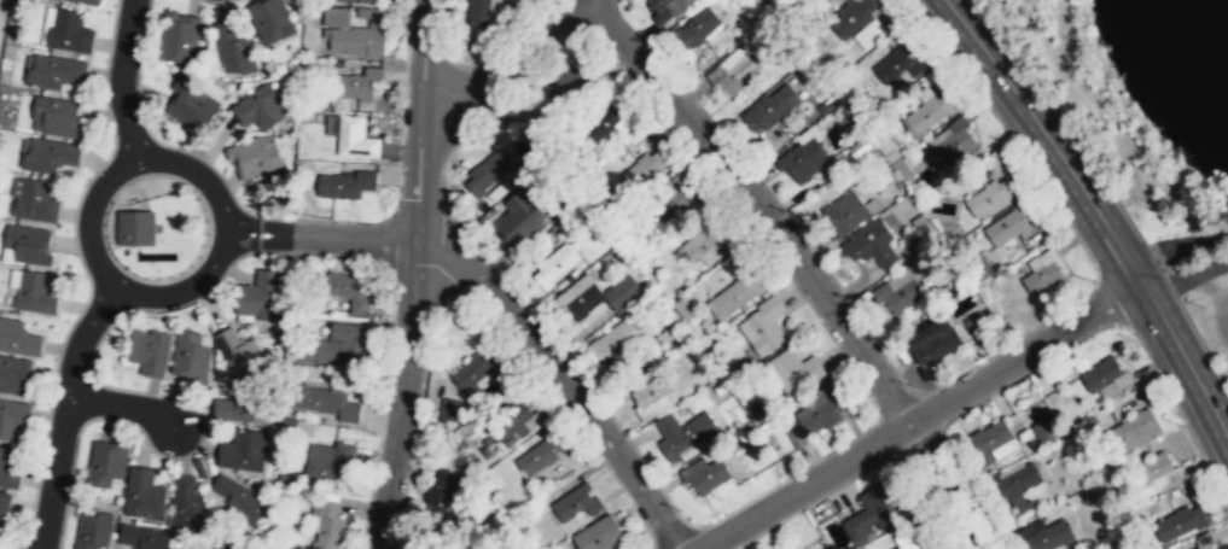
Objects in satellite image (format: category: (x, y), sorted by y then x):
building: (356, 0)
building: (827, 0)
building: (85, 1)
building: (820, 1)
building: (668, 8)
building: (482, 13)
building: (337, 17)
building: (851, 17)
building: (268, 19)
building: (697, 28)
building: (69, 31)
building: (872, 34)
building: (179, 37)
building: (356, 41)
building: (234, 48)
building: (894, 65)
road: (502, 70)
building: (737, 70)
building: (54, 71)
road: (122, 81)
building: (566, 83)
building: (355, 86)
road: (403, 101)
building: (191, 105)
building: (770, 106)
building: (260, 107)
building: (931, 111)
building: (56, 116)
building: (607, 121)
street lamp: (723, 125)
building: (356, 138)
building: (955, 145)
building: (887, 152)
building: (50, 154)
building: (254, 157)
building: (804, 158)
building: (645, 169)
building: (488, 171)
building: (347, 183)
street lamp: (395, 189)
building: (989, 198)
building: (674, 199)
building: (35, 200)
street lamp: (790, 211)
building: (845, 212)
road: (1095, 212)
building: (519, 220)
building: (1007, 223)
building: (135, 230)
road: (320, 236)
road: (395, 238)
building: (28, 243)
building: (708, 243)
building: (871, 243)
road: (1176, 250)
road: (798, 261)
building: (555, 264)
building: (1042, 271)
road: (414, 275)
road: (1186, 278)
building: (350, 290)
building: (900, 291)
building: (34, 292)
building: (623, 292)
road: (174, 294)
building: (258, 294)
building: (738, 294)
building: (581, 296)
street lamp: (852, 296)
street lamp: (537, 306)
building: (688, 306)
building: (764, 325)
building: (979, 325)
building: (18, 338)
building: (615, 339)
building: (936, 340)
building: (337, 344)
road: (388, 344)
building: (150, 351)
building: (190, 354)
building: (240, 354)
building: (476, 370)
building: (795, 370)
building: (16, 375)
building: (1104, 376)
road: (563, 378)
street lamp: (914, 384)
building: (653, 395)
building: (324, 401)
building: (243, 404)
road: (122, 407)
building: (450, 409)
building: (820, 409)
road: (65, 411)
road: (921, 416)
building: (12, 417)
building: (525, 420)
building: (1042, 430)
building: (1133, 430)
building: (681, 432)
building: (989, 439)
building: (243, 450)
building: (540, 455)
building: (330, 461)
building: (106, 462)
building: (8, 469)
building: (705, 472)
building: (1156, 473)
building: (1015, 480)
building: (144, 493)
building: (438, 495)
building: (239, 498)
building: (577, 502)
building: (188, 504)
street lamp: (681, 509)
building: (5, 512)
building: (867, 512)
building: (327, 524)
building: (1177, 524)
building: (94, 531)
building: (599, 535)
building: (1043, 535)
building: (144, 537)
building: (908, 539)
building: (1204, 541)
building: (240, 548)
building: (248, 548)

